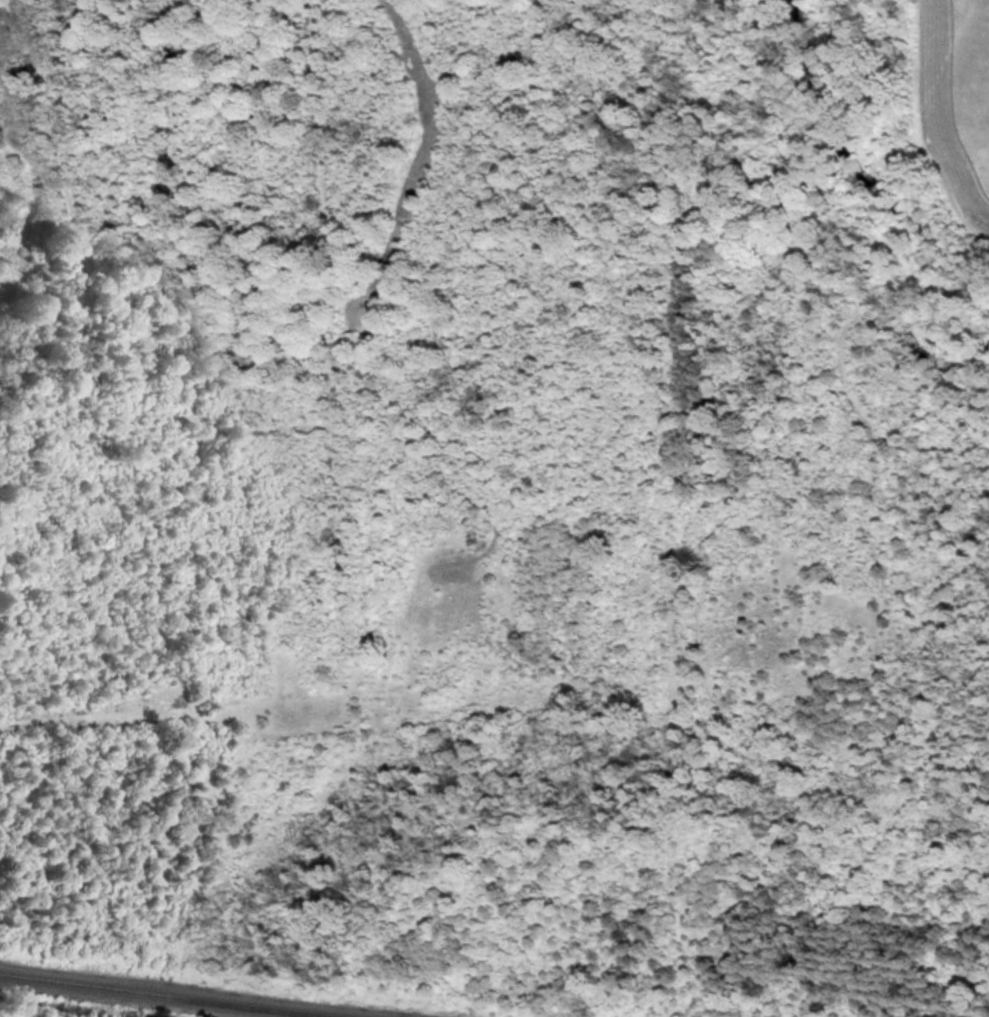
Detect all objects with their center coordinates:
railway: (163, 996)

